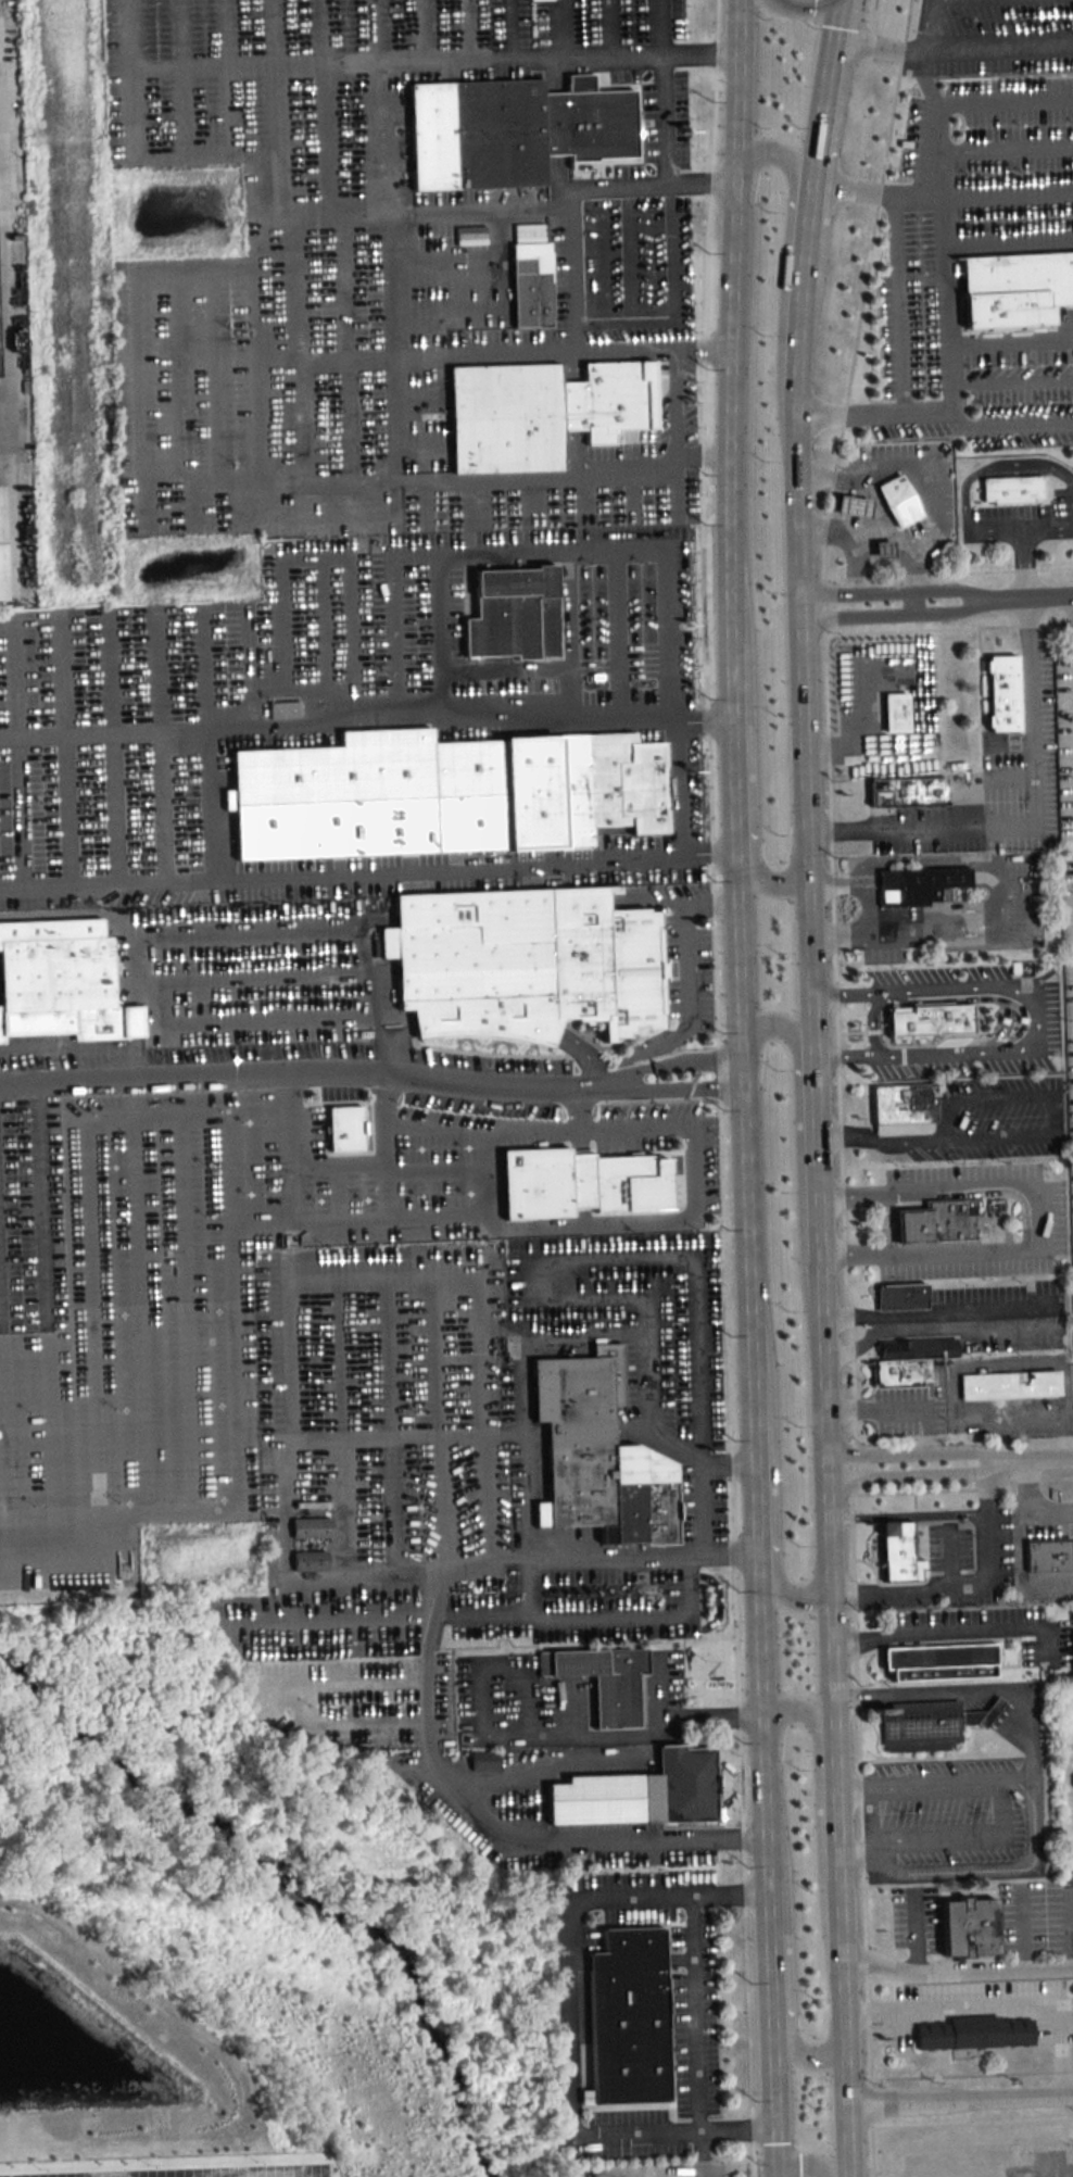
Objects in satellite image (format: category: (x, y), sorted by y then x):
building: (540, 0)
traffic signals: (815, 0)
traffic signals: (834, 25)
road: (930, 25)
road: (469, 27)
road: (516, 28)
road: (611, 28)
road: (416, 29)
road: (566, 29)
road: (879, 47)
road: (1000, 47)
road: (700, 53)
road: (445, 56)
road: (924, 72)
road: (229, 76)
road: (182, 77)
road: (823, 90)
road: (1002, 98)
road: (370, 105)
road: (324, 106)
road: (132, 128)
building: (512, 128)
building: (1028, 129)
road: (556, 130)
road: (275, 131)
road: (1005, 148)
road: (779, 151)
road: (666, 160)
road: (702, 180)
road: (611, 190)
road: (875, 190)
road: (1008, 192)
road: (420, 210)
building: (1010, 238)
road: (1009, 240)
road: (445, 252)
road: (945, 252)
road: (206, 266)
road: (733, 269)
road: (801, 270)
road: (571, 272)
road: (624, 281)
building: (531, 282)
building: (1014, 287)
road: (863, 289)
road: (474, 290)
road: (4, 300)
road: (899, 303)
road: (649, 320)
road: (1011, 341)
road: (390, 345)
road: (712, 347)
road: (343, 348)
road: (496, 355)
road: (299, 366)
road: (1011, 380)
road: (418, 392)
road: (135, 395)
road: (172, 395)
road: (212, 395)
building: (541, 412)
road: (568, 413)
road: (909, 413)
road: (579, 414)
road: (831, 414)
road: (796, 416)
road: (1009, 424)
road: (677, 431)
road: (421, 442)
road: (804, 443)
road: (824, 444)
road: (703, 453)
road: (1014, 470)
road: (918, 474)
road: (358, 482)
building: (1008, 490)
road: (631, 495)
road: (585, 496)
road: (538, 499)
building: (895, 499)
road: (493, 500)
road: (466, 501)
road: (426, 502)
road: (873, 502)
road: (378, 504)
road: (333, 505)
building: (845, 505)
road: (291, 506)
road: (263, 507)
road: (883, 533)
road: (994, 533)
road: (850, 539)
road: (1025, 544)
building: (2, 549)
road: (529, 550)
building: (878, 550)
road: (823, 590)
road: (1027, 596)
road: (982, 599)
road: (913, 601)
road: (823, 604)
road: (279, 607)
building: (514, 612)
road: (1072, 613)
road: (824, 617)
road: (350, 624)
road: (321, 625)
road: (667, 627)
road: (617, 629)
road: (570, 630)
road: (439, 636)
road: (396, 638)
road: (251, 663)
road: (506, 668)
road: (710, 684)
road: (722, 684)
road: (332, 692)
building: (998, 693)
road: (730, 695)
building: (286, 710)
building: (892, 713)
road: (673, 716)
road: (462, 718)
road: (705, 720)
road: (126, 730)
road: (206, 740)
road: (157, 741)
road: (64, 744)
road: (112, 744)
road: (20, 747)
road: (805, 759)
road: (680, 787)
building: (434, 794)
building: (902, 794)
road: (1030, 821)
road: (718, 850)
road: (351, 872)
road: (765, 879)
building: (913, 885)
road: (723, 903)
road: (545, 904)
road: (869, 911)
road: (250, 928)
building: (523, 959)
road: (251, 976)
building: (60, 979)
road: (136, 979)
road: (367, 981)
road: (687, 994)
road: (1033, 1017)
road: (264, 1019)
building: (910, 1021)
road: (780, 1022)
road: (487, 1024)
road: (836, 1036)
road: (742, 1057)
road: (314, 1070)
road: (629, 1078)
road: (718, 1088)
road: (580, 1104)
building: (898, 1109)
road: (147, 1117)
building: (343, 1124)
road: (927, 1141)
road: (292, 1144)
road: (384, 1144)
road: (339, 1162)
road: (692, 1165)
road: (439, 1169)
building: (578, 1181)
road: (339, 1191)
road: (850, 1193)
road: (819, 1203)
road: (1037, 1212)
road: (362, 1217)
road: (884, 1220)
building: (937, 1224)
road: (853, 1253)
road: (388, 1273)
road: (646, 1295)
building: (902, 1296)
road: (233, 1309)
road: (697, 1309)
road: (931, 1310)
road: (185, 1311)
road: (138, 1312)
road: (47, 1323)
road: (91, 1325)
road: (934, 1331)
road: (540, 1341)
road: (394, 1355)
road: (350, 1356)
building: (910, 1361)
road: (1014, 1363)
road: (845, 1376)
road: (831, 1377)
building: (1011, 1385)
road: (754, 1407)
road: (897, 1407)
road: (484, 1413)
road: (1010, 1417)
road: (444, 1418)
road: (298, 1430)
road: (623, 1432)
road: (963, 1432)
road: (409, 1435)
road: (4, 1438)
building: (597, 1451)
road: (855, 1454)
road: (995, 1461)
road: (1034, 1461)
road: (736, 1462)
road: (854, 1465)
road: (851, 1477)
road: (1042, 1477)
road: (993, 1483)
road: (989, 1486)
road: (913, 1489)
road: (525, 1495)
road: (377, 1506)
road: (175, 1507)
road: (338, 1507)
road: (907, 1513)
building: (312, 1524)
road: (829, 1547)
road: (729, 1551)
building: (900, 1552)
building: (1049, 1556)
building: (310, 1558)
road: (493, 1558)
road: (64, 1563)
road: (526, 1585)
road: (947, 1589)
road: (782, 1591)
road: (485, 1613)
road: (742, 1619)
road: (752, 1619)
road: (954, 1631)
road: (759, 1632)
building: (946, 1662)
building: (605, 1679)
road: (657, 1684)
road: (258, 1694)
road: (804, 1709)
road: (529, 1713)
road: (709, 1714)
road: (857, 1715)
building: (988, 1716)
road: (477, 1717)
building: (926, 1726)
road: (763, 1739)
road: (1033, 1759)
building: (483, 1761)
road: (544, 1767)
road: (1018, 1778)
building: (643, 1791)
road: (468, 1805)
road: (1001, 1811)
parking lot: (952, 1816)
road: (740, 1837)
road: (838, 1866)
road: (768, 1896)
parking lot: (914, 1916)
parking lot: (1036, 1916)
road: (1057, 1923)
road: (1022, 1924)
building: (969, 1926)
road: (914, 1929)
road: (864, 1960)
road: (957, 1971)
road: (567, 1978)
road: (998, 2005)
road: (696, 2010)
building: (630, 2016)
road: (867, 2028)
building: (972, 2033)
road: (804, 2053)
road: (1062, 2071)
road: (960, 2074)
road: (846, 2086)
road: (960, 2098)
road: (869, 2101)
road: (773, 2102)
road: (971, 2121)
road: (700, 2138)
traffic signals: (775, 2141)
road: (870, 2149)
traffic signals: (799, 2164)
road: (807, 2164)
road: (704, 2174)

